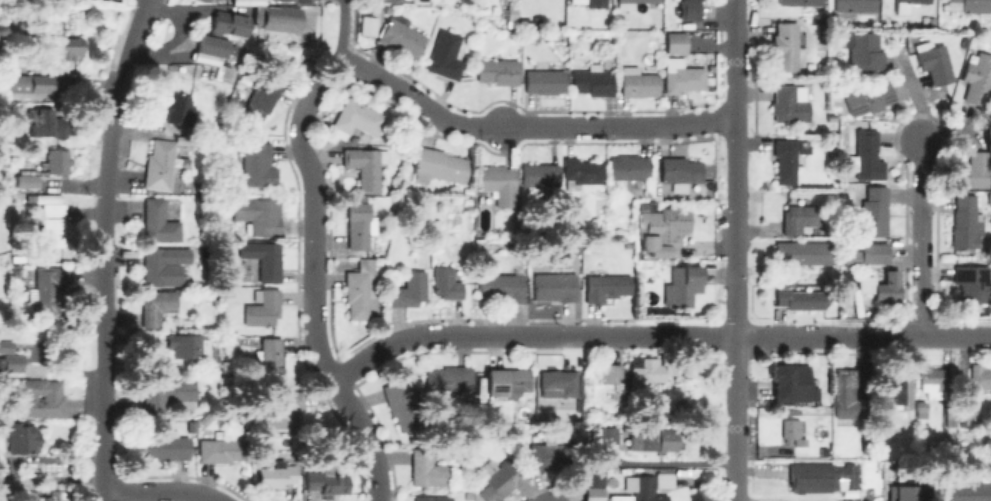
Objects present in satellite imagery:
building: (268, 0)
building: (392, 1)
building: (801, 1)
building: (913, 1)
road: (343, 2)
building: (590, 2)
building: (629, 3)
building: (856, 5)
building: (969, 5)
building: (688, 9)
building: (512, 15)
building: (283, 19)
building: (526, 21)
building: (934, 21)
building: (230, 24)
building: (369, 26)
road: (343, 32)
building: (532, 35)
building: (402, 37)
building: (675, 42)
building: (788, 44)
building: (215, 46)
building: (865, 50)
building: (65, 51)
building: (445, 53)
building: (937, 63)
building: (822, 68)
building: (810, 69)
building: (498, 70)
building: (682, 75)
building: (593, 79)
building: (545, 80)
building: (638, 81)
building: (979, 81)
building: (32, 83)
building: (261, 97)
building: (870, 98)
building: (791, 102)
building: (178, 109)
building: (358, 117)
building: (830, 118)
building: (48, 124)
road: (527, 126)
building: (867, 156)
building: (787, 158)
building: (58, 162)
building: (258, 165)
building: (160, 166)
building: (367, 166)
building: (441, 167)
building: (628, 167)
building: (680, 169)
building: (975, 169)
building: (582, 170)
building: (539, 175)
building: (29, 180)
building: (500, 186)
building: (874, 211)
building: (261, 216)
road: (315, 216)
building: (800, 216)
building: (965, 221)
building: (160, 223)
building: (357, 224)
building: (55, 226)
building: (664, 231)
road: (922, 236)
road: (103, 248)
road: (735, 250)
building: (808, 254)
building: (867, 254)
building: (266, 261)
building: (163, 266)
building: (972, 282)
building: (448, 285)
building: (606, 285)
building: (682, 285)
building: (555, 286)
building: (889, 287)
building: (503, 288)
building: (49, 290)
building: (360, 290)
building: (410, 290)
building: (801, 298)
building: (158, 308)
building: (264, 309)
road: (442, 336)
road: (601, 336)
road: (815, 336)
building: (190, 347)
building: (272, 360)
building: (13, 364)
building: (613, 375)
building: (647, 376)
building: (980, 378)
building: (449, 379)
building: (933, 380)
building: (509, 384)
building: (558, 384)
building: (850, 384)
building: (794, 385)
building: (167, 395)
building: (894, 395)
building: (43, 399)
building: (403, 409)
building: (970, 410)
building: (289, 411)
building: (792, 429)
building: (605, 436)
road: (367, 437)
building: (650, 439)
building: (22, 440)
building: (167, 448)
building: (225, 451)
building: (548, 454)
building: (429, 471)
building: (278, 477)
building: (825, 479)
building: (329, 481)
building: (501, 482)
building: (594, 482)
building: (651, 485)
road: (160, 492)
building: (972, 492)
building: (904, 493)
road: (863, 498)
building: (433, 499)
building: (39, 500)

